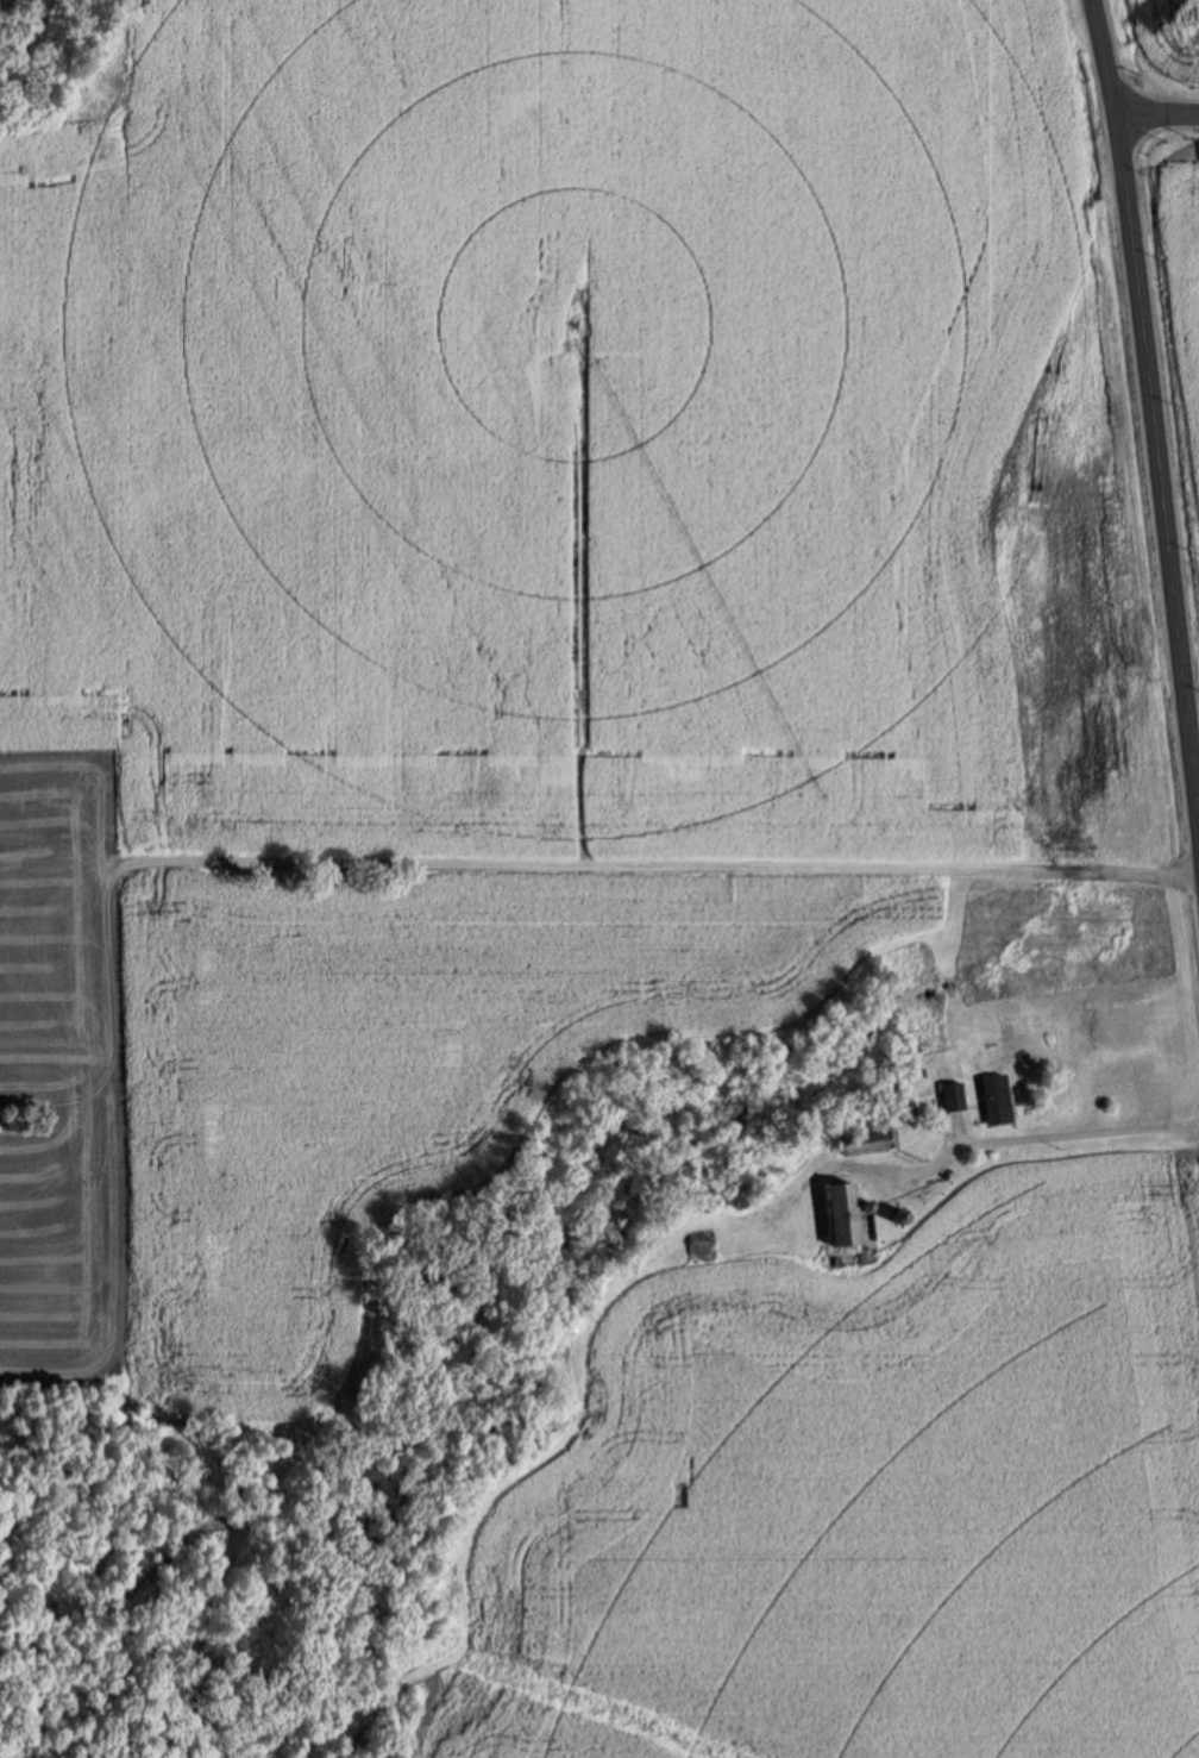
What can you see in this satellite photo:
road: (1105, 54)
road: (1156, 105)
road: (1157, 475)
building: (953, 1096)
building: (996, 1100)
road: (1013, 1137)
building: (846, 1215)
building: (697, 1251)

